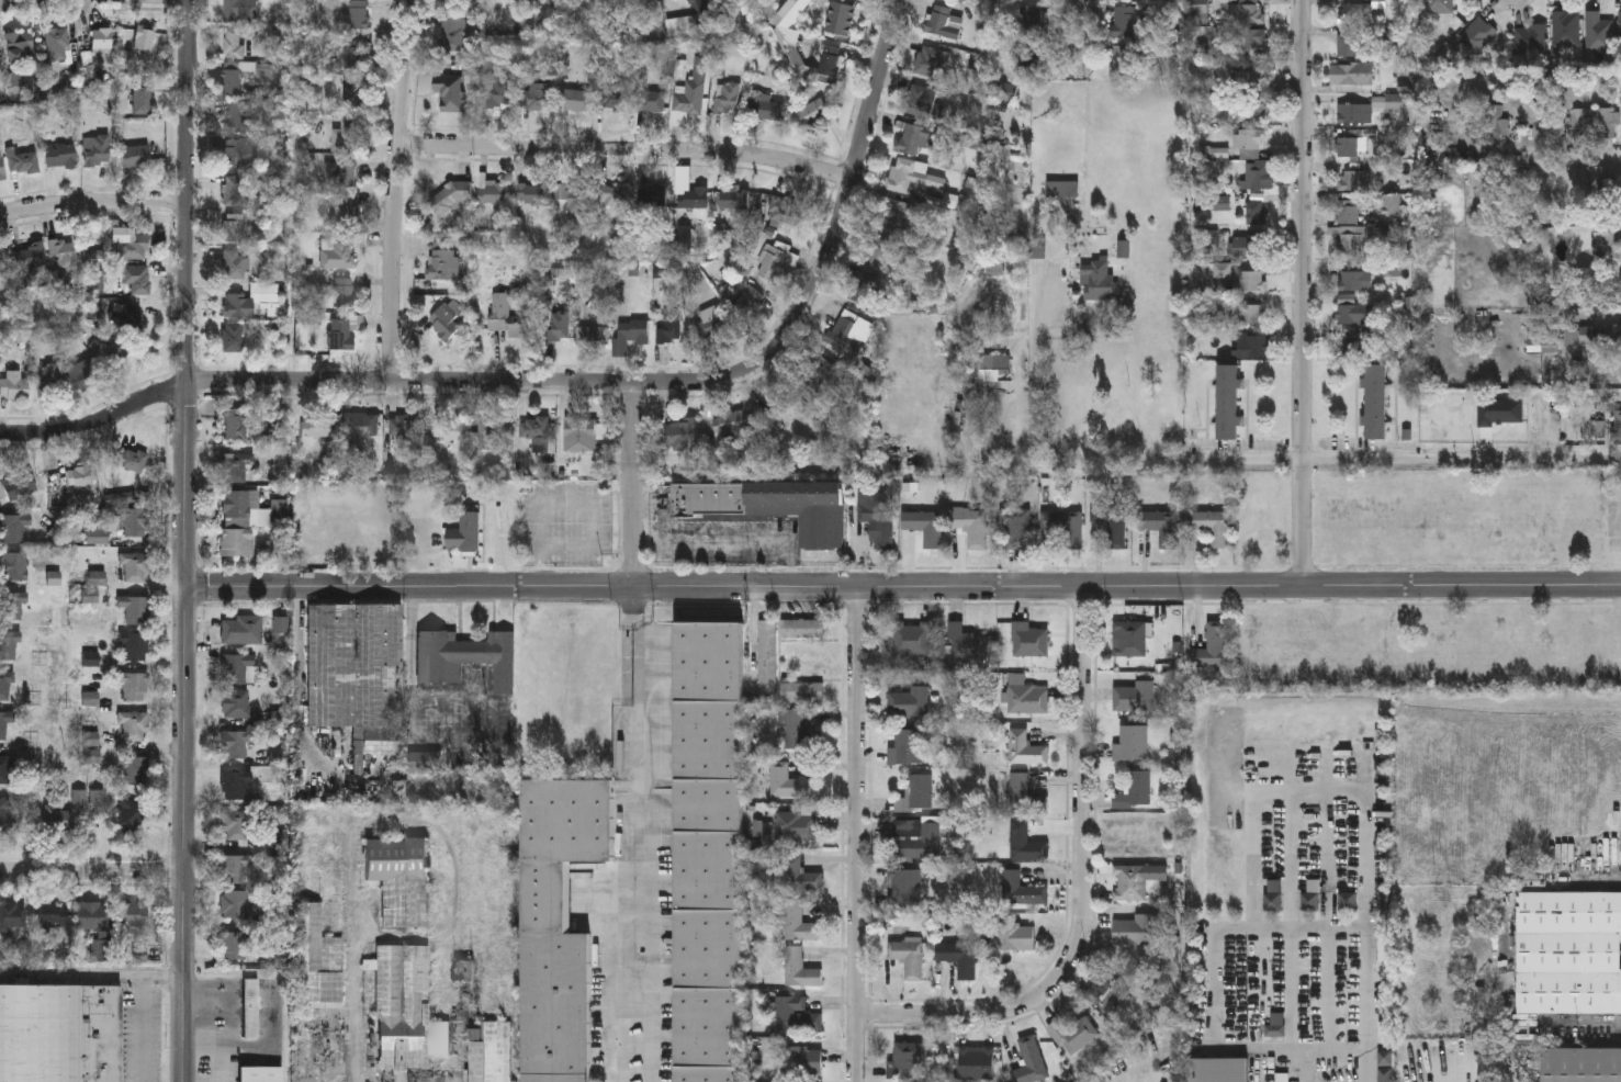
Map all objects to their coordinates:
building: (510, 0)
building: (563, 0)
building: (646, 0)
building: (946, 0)
building: (1124, 0)
road: (14, 1)
building: (462, 1)
building: (1439, 7)
building: (236, 11)
building: (1353, 12)
building: (1248, 13)
building: (358, 16)
building: (840, 20)
building: (1124, 23)
building: (942, 24)
building: (1566, 29)
building: (1620, 29)
building: (1598, 33)
building: (452, 36)
building: (1477, 36)
road: (1078, 37)
building: (102, 38)
building: (1531, 38)
building: (144, 40)
building: (1253, 41)
building: (1029, 42)
building: (18, 44)
building: (57, 44)
building: (1348, 45)
building: (233, 47)
building: (352, 60)
building: (1125, 63)
building: (930, 64)
building: (829, 66)
building: (1350, 74)
building: (1251, 82)
building: (449, 92)
building: (352, 95)
building: (142, 98)
building: (537, 101)
building: (727, 101)
building: (920, 101)
building: (574, 102)
building: (612, 102)
building: (650, 103)
building: (687, 104)
building: (1254, 108)
building: (1353, 112)
building: (812, 114)
building: (238, 119)
building: (1600, 119)
building: (349, 135)
building: (910, 139)
building: (1250, 145)
building: (1350, 145)
building: (97, 150)
road: (624, 150)
building: (233, 154)
building: (60, 155)
building: (135, 155)
building: (23, 162)
building: (1, 168)
building: (338, 174)
building: (908, 177)
building: (1599, 177)
building: (1254, 178)
building: (1351, 178)
road: (851, 181)
building: (233, 191)
road: (393, 191)
building: (493, 193)
building: (533, 196)
building: (652, 196)
building: (453, 198)
building: (612, 198)
building: (571, 199)
building: (694, 200)
road: (93, 201)
building: (734, 202)
building: (1392, 202)
building: (1350, 210)
building: (342, 214)
building: (785, 214)
building: (890, 215)
building: (1254, 215)
building: (233, 229)
building: (1352, 237)
building: (1607, 240)
building: (134, 248)
building: (1247, 249)
building: (64, 253)
building: (33, 255)
building: (338, 255)
building: (770, 264)
building: (443, 266)
building: (236, 267)
building: (1389, 267)
building: (1355, 279)
building: (0, 280)
building: (137, 280)
building: (1251, 282)
building: (1096, 283)
building: (1538, 285)
building: (862, 291)
road: (1301, 292)
building: (342, 294)
building: (748, 305)
building: (238, 306)
building: (1354, 312)
building: (1251, 316)
building: (507, 318)
building: (446, 320)
building: (712, 324)
building: (560, 329)
building: (669, 330)
building: (848, 334)
building: (339, 335)
building: (629, 336)
building: (1596, 336)
building: (592, 337)
building: (232, 338)
building: (1547, 340)
building: (1351, 341)
building: (1251, 347)
building: (992, 370)
building: (83, 374)
building: (822, 376)
building: (49, 379)
road: (386, 382)
building: (14, 384)
road: (1034, 397)
building: (1376, 399)
building: (1227, 403)
building: (776, 414)
building: (236, 424)
building: (1619, 425)
building: (361, 426)
building: (315, 428)
building: (406, 430)
building: (448, 430)
building: (730, 431)
building: (489, 435)
building: (536, 435)
building: (583, 435)
building: (680, 436)
building: (275, 454)
road: (1295, 457)
building: (131, 458)
building: (236, 465)
building: (76, 475)
building: (19, 485)
building: (126, 496)
building: (770, 504)
building: (877, 518)
building: (134, 521)
building: (259, 521)
building: (1112, 522)
building: (13, 526)
building: (924, 527)
building: (971, 527)
building: (1160, 527)
building: (1212, 527)
building: (1063, 528)
building: (1016, 530)
building: (463, 534)
road: (633, 540)
road: (188, 541)
road: (743, 544)
building: (13, 565)
building: (136, 566)
road: (1127, 585)
road: (410, 586)
building: (11, 604)
building: (136, 609)
building: (802, 628)
building: (240, 629)
building: (912, 639)
building: (1130, 640)
building: (1029, 641)
building: (967, 644)
building: (10, 645)
building: (135, 646)
building: (1212, 647)
building: (465, 656)
building: (767, 660)
building: (236, 666)
building: (358, 674)
road: (302, 684)
building: (5, 685)
building: (134, 686)
building: (802, 691)
building: (1026, 697)
building: (1135, 698)
building: (236, 702)
building: (909, 703)
building: (4, 721)
building: (135, 725)
building: (799, 731)
building: (236, 743)
building: (1132, 744)
building: (907, 747)
building: (1026, 748)
building: (4, 768)
building: (136, 769)
building: (790, 781)
building: (236, 785)
building: (1134, 791)
road: (1362, 791)
building: (916, 794)
building: (1025, 797)
building: (5, 815)
building: (127, 816)
building: (59, 818)
building: (236, 824)
building: (796, 824)
road: (857, 833)
building: (918, 839)
building: (1025, 843)
building: (708, 853)
building: (236, 867)
road: (92, 868)
building: (801, 874)
building: (1136, 880)
building: (399, 881)
building: (905, 887)
road: (632, 890)
building: (1022, 890)
road: (1081, 891)
building: (1273, 895)
building: (1309, 901)
building: (235, 902)
building: (1346, 902)
building: (92, 914)
building: (13, 915)
building: (54, 915)
building: (134, 916)
road: (1327, 918)
road: (1290, 920)
building: (800, 922)
building: (559, 924)
building: (1134, 931)
building: (1014, 937)
building: (236, 944)
building: (1384, 948)
building: (1568, 953)
building: (909, 958)
building: (958, 958)
building: (317, 960)
building: (800, 968)
road: (92, 978)
building: (1108, 993)
road: (1366, 1005)
building: (251, 1010)
building: (406, 1012)
building: (796, 1014)
road: (145, 1029)
road: (1214, 1032)
building: (60, 1034)
building: (1073, 1035)
road: (1336, 1049)
building: (491, 1055)
building: (803, 1060)
building: (907, 1062)
building: (977, 1063)
building: (1031, 1063)
building: (1580, 1064)
building: (1384, 1066)
building: (1218, 1070)
building: (252, 1071)

